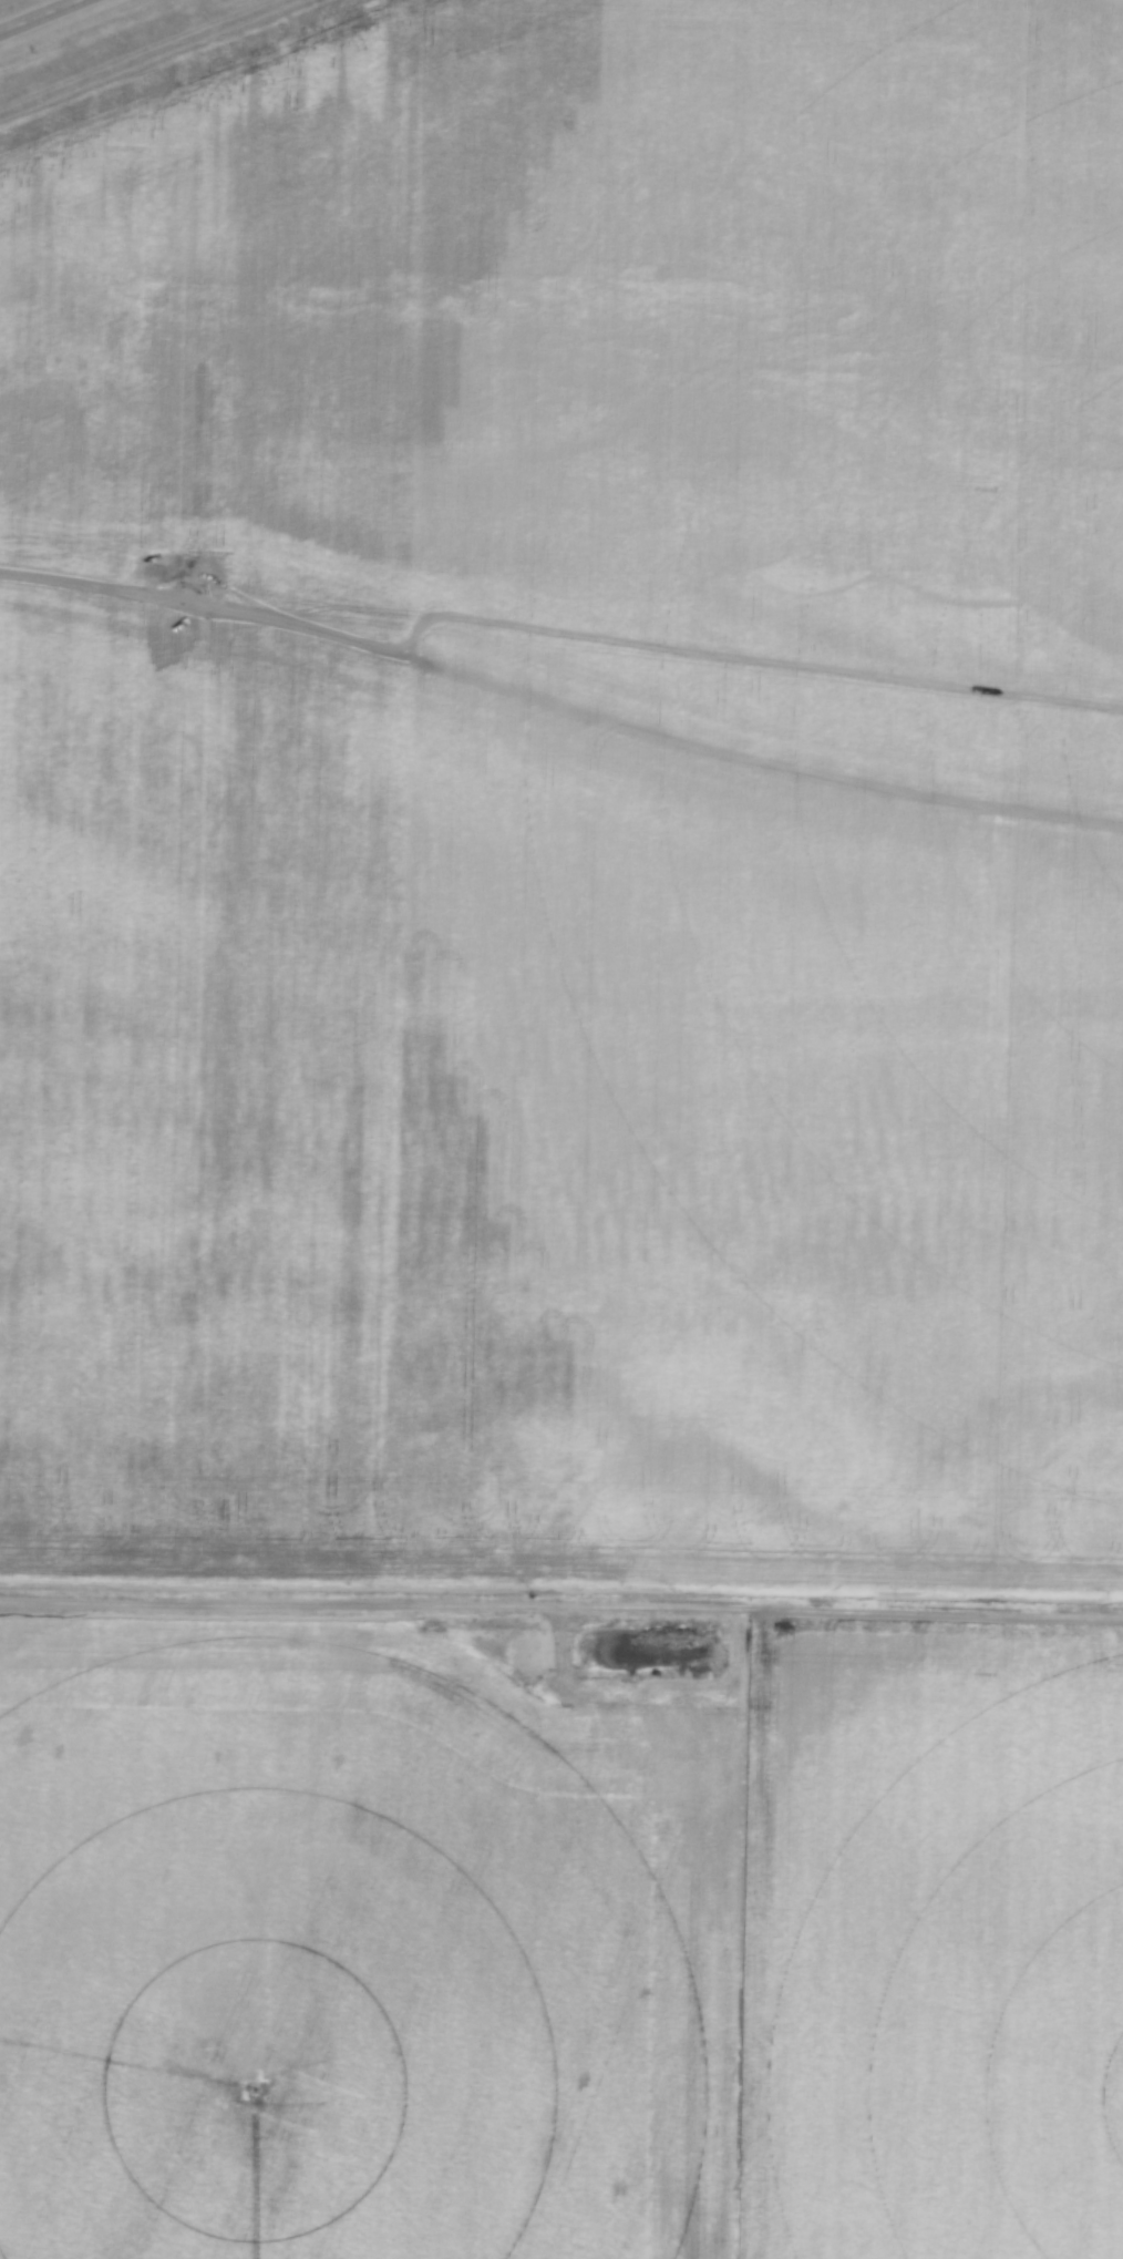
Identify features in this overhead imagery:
road: (41, 16)
crop: (567, 794)
crop: (558, 1948)

